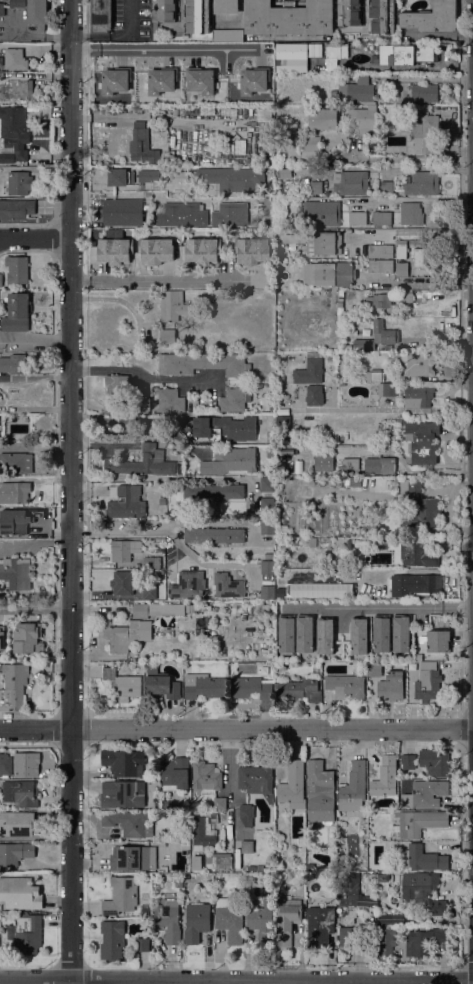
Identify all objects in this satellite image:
building: (226, 6)
building: (2, 9)
building: (33, 11)
building: (164, 12)
building: (101, 16)
building: (197, 16)
building: (366, 16)
building: (289, 17)
building: (432, 17)
building: (228, 35)
road: (117, 38)
road: (162, 49)
building: (292, 50)
building: (334, 54)
building: (405, 54)
building: (15, 59)
building: (0, 63)
building: (200, 80)
building: (113, 81)
building: (160, 81)
building: (252, 81)
building: (357, 90)
building: (16, 91)
building: (424, 92)
building: (333, 93)
building: (262, 114)
building: (321, 118)
building: (363, 119)
building: (423, 130)
building: (13, 133)
building: (309, 143)
building: (142, 147)
road: (411, 159)
building: (148, 176)
building: (119, 177)
building: (232, 178)
building: (19, 182)
building: (351, 183)
building: (422, 183)
building: (386, 186)
building: (313, 188)
building: (267, 203)
building: (17, 209)
building: (123, 211)
building: (320, 213)
building: (411, 213)
building: (230, 214)
building: (182, 215)
building: (357, 217)
building: (381, 218)
road: (414, 234)
road: (35, 239)
building: (324, 242)
building: (203, 250)
building: (252, 250)
building: (401, 250)
building: (115, 251)
building: (156, 251)
building: (380, 251)
building: (424, 257)
building: (278, 261)
building: (380, 266)
building: (17, 269)
building: (402, 269)
building: (278, 270)
building: (328, 273)
building: (1, 280)
road: (167, 280)
building: (406, 297)
building: (381, 302)
building: (172, 305)
building: (17, 313)
building: (167, 336)
building: (377, 337)
road: (35, 341)
building: (203, 363)
building: (13, 364)
building: (415, 364)
building: (309, 370)
building: (372, 375)
road: (144, 376)
building: (280, 379)
building: (342, 383)
building: (387, 390)
building: (118, 391)
building: (314, 395)
building: (418, 395)
building: (233, 399)
building: (170, 400)
building: (145, 404)
road: (384, 409)
road: (117, 419)
building: (282, 422)
building: (225, 428)
building: (420, 443)
road: (35, 446)
building: (270, 451)
building: (230, 461)
building: (142, 462)
building: (15, 463)
building: (324, 463)
building: (350, 464)
building: (380, 465)
road: (402, 467)
road: (168, 478)
building: (353, 481)
building: (331, 482)
building: (267, 484)
building: (394, 484)
building: (409, 485)
building: (213, 491)
building: (14, 492)
road: (71, 492)
building: (165, 492)
building: (125, 504)
building: (267, 505)
building: (423, 514)
building: (14, 521)
building: (267, 527)
road: (167, 534)
building: (213, 535)
road: (35, 543)
building: (349, 544)
building: (124, 550)
building: (418, 553)
building: (151, 562)
building: (267, 568)
building: (160, 572)
building: (15, 573)
building: (122, 583)
building: (188, 584)
building: (415, 584)
building: (228, 586)
building: (149, 592)
building: (267, 592)
building: (279, 592)
building: (346, 595)
building: (249, 596)
road: (36, 608)
road: (384, 608)
building: (157, 609)
building: (265, 616)
building: (382, 632)
building: (287, 633)
building: (305, 633)
building: (401, 633)
building: (124, 635)
building: (325, 635)
building: (359, 635)
building: (2, 638)
building: (27, 638)
building: (436, 641)
building: (410, 667)
building: (373, 669)
building: (429, 679)
building: (123, 683)
building: (161, 684)
building: (13, 685)
building: (204, 686)
building: (391, 686)
building: (250, 687)
building: (344, 687)
building: (296, 688)
building: (412, 697)
road: (236, 729)
building: (407, 761)
building: (124, 762)
road: (230, 762)
building: (435, 762)
building: (5, 764)
building: (25, 764)
building: (175, 773)
building: (206, 777)
building: (385, 777)
building: (257, 780)
building: (293, 785)
building: (320, 791)
building: (21, 793)
building: (122, 794)
building: (352, 794)
building: (424, 794)
building: (220, 803)
building: (157, 806)
building: (246, 814)
building: (6, 821)
building: (128, 822)
building: (419, 823)
building: (204, 832)
building: (179, 845)
building: (247, 846)
building: (303, 847)
building: (15, 853)
building: (133, 858)
building: (422, 858)
building: (219, 861)
road: (36, 868)
building: (251, 868)
building: (262, 869)
building: (365, 875)
building: (348, 877)
building: (383, 877)
building: (178, 881)
building: (423, 891)
building: (20, 893)
building: (348, 894)
building: (120, 896)
building: (367, 901)
building: (391, 918)
building: (168, 920)
building: (229, 920)
building: (287, 920)
building: (196, 922)
building: (261, 922)
building: (320, 924)
building: (26, 933)
building: (352, 936)
building: (112, 940)
building: (386, 940)
building: (423, 941)
building: (142, 944)
road: (236, 976)

